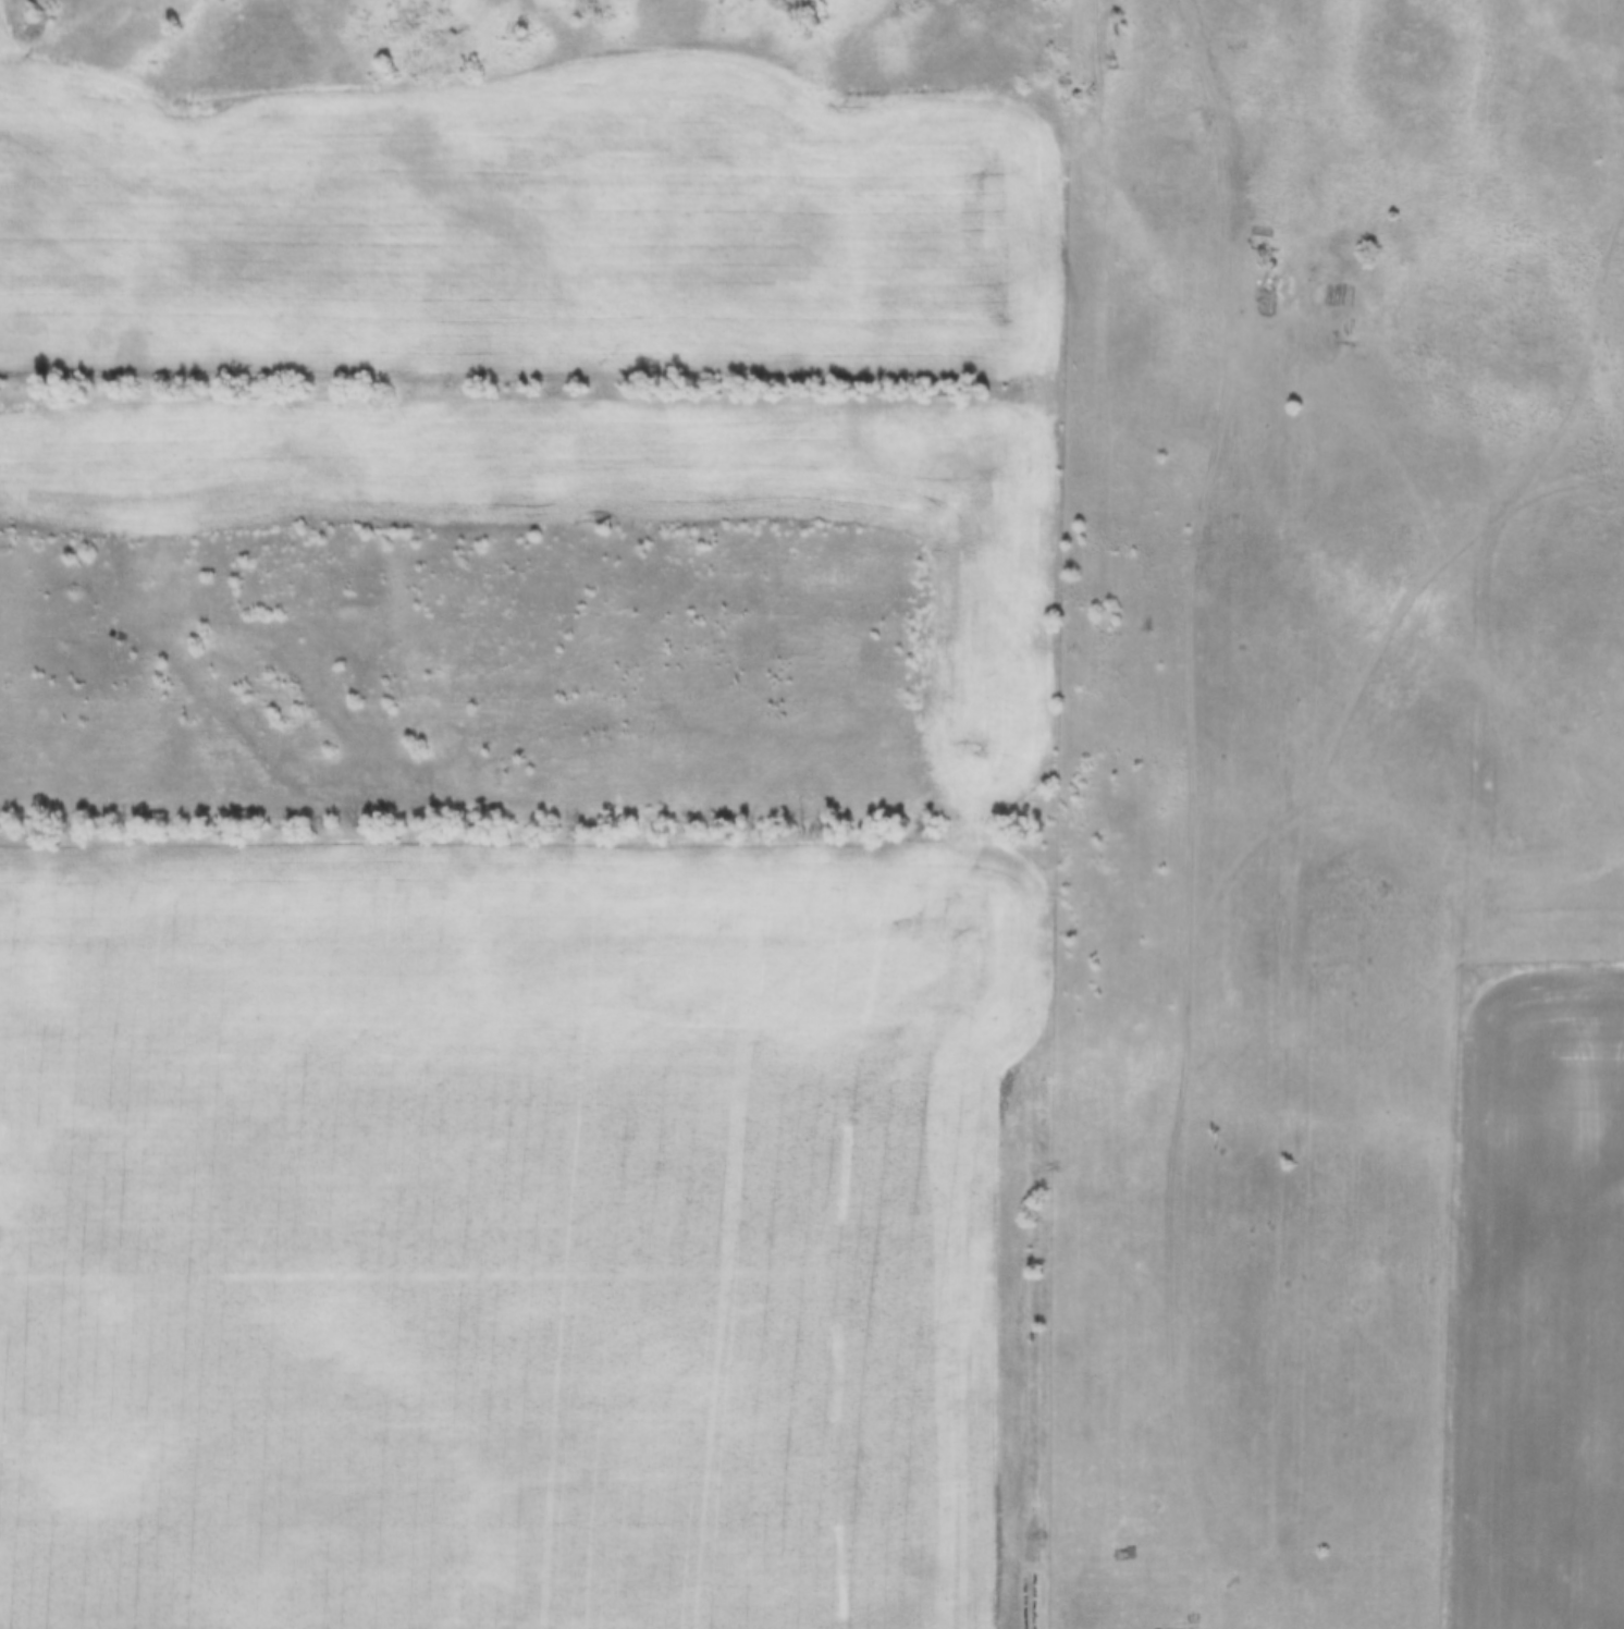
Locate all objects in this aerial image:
road: (1194, 811)

